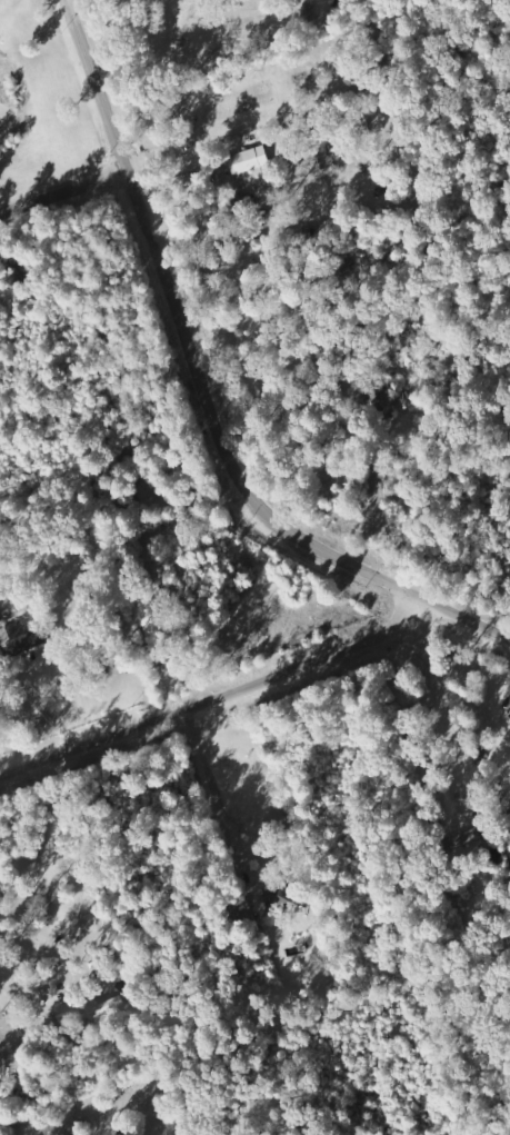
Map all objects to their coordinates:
road: (93, 84)
building: (250, 160)
building: (324, 165)
road: (62, 190)
road: (232, 477)
building: (148, 611)
building: (29, 633)
road: (217, 696)
building: (470, 834)
building: (279, 894)
building: (99, 1008)

